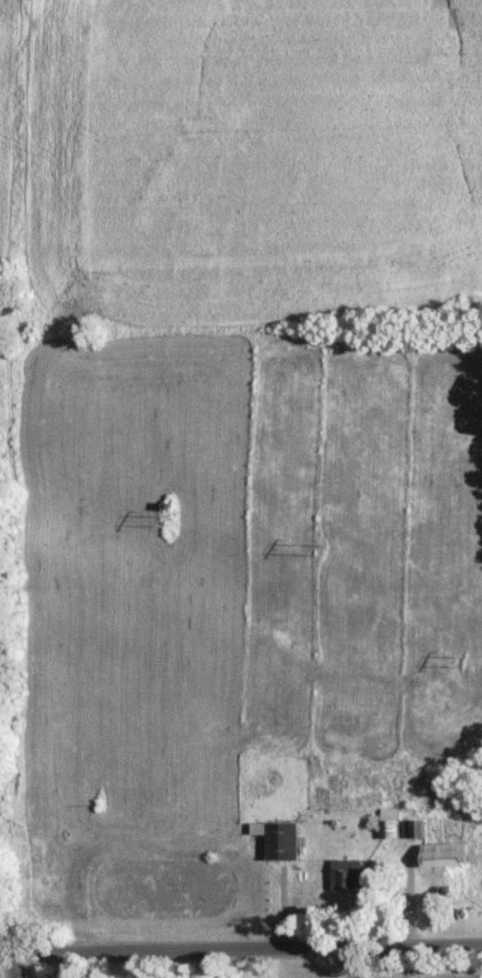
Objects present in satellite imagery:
power tower: (326, 548)
power tower: (469, 676)
building: (429, 790)
building: (407, 824)
building: (284, 837)
building: (452, 854)
building: (357, 875)
road: (241, 944)
road: (13, 961)
road: (346, 961)

